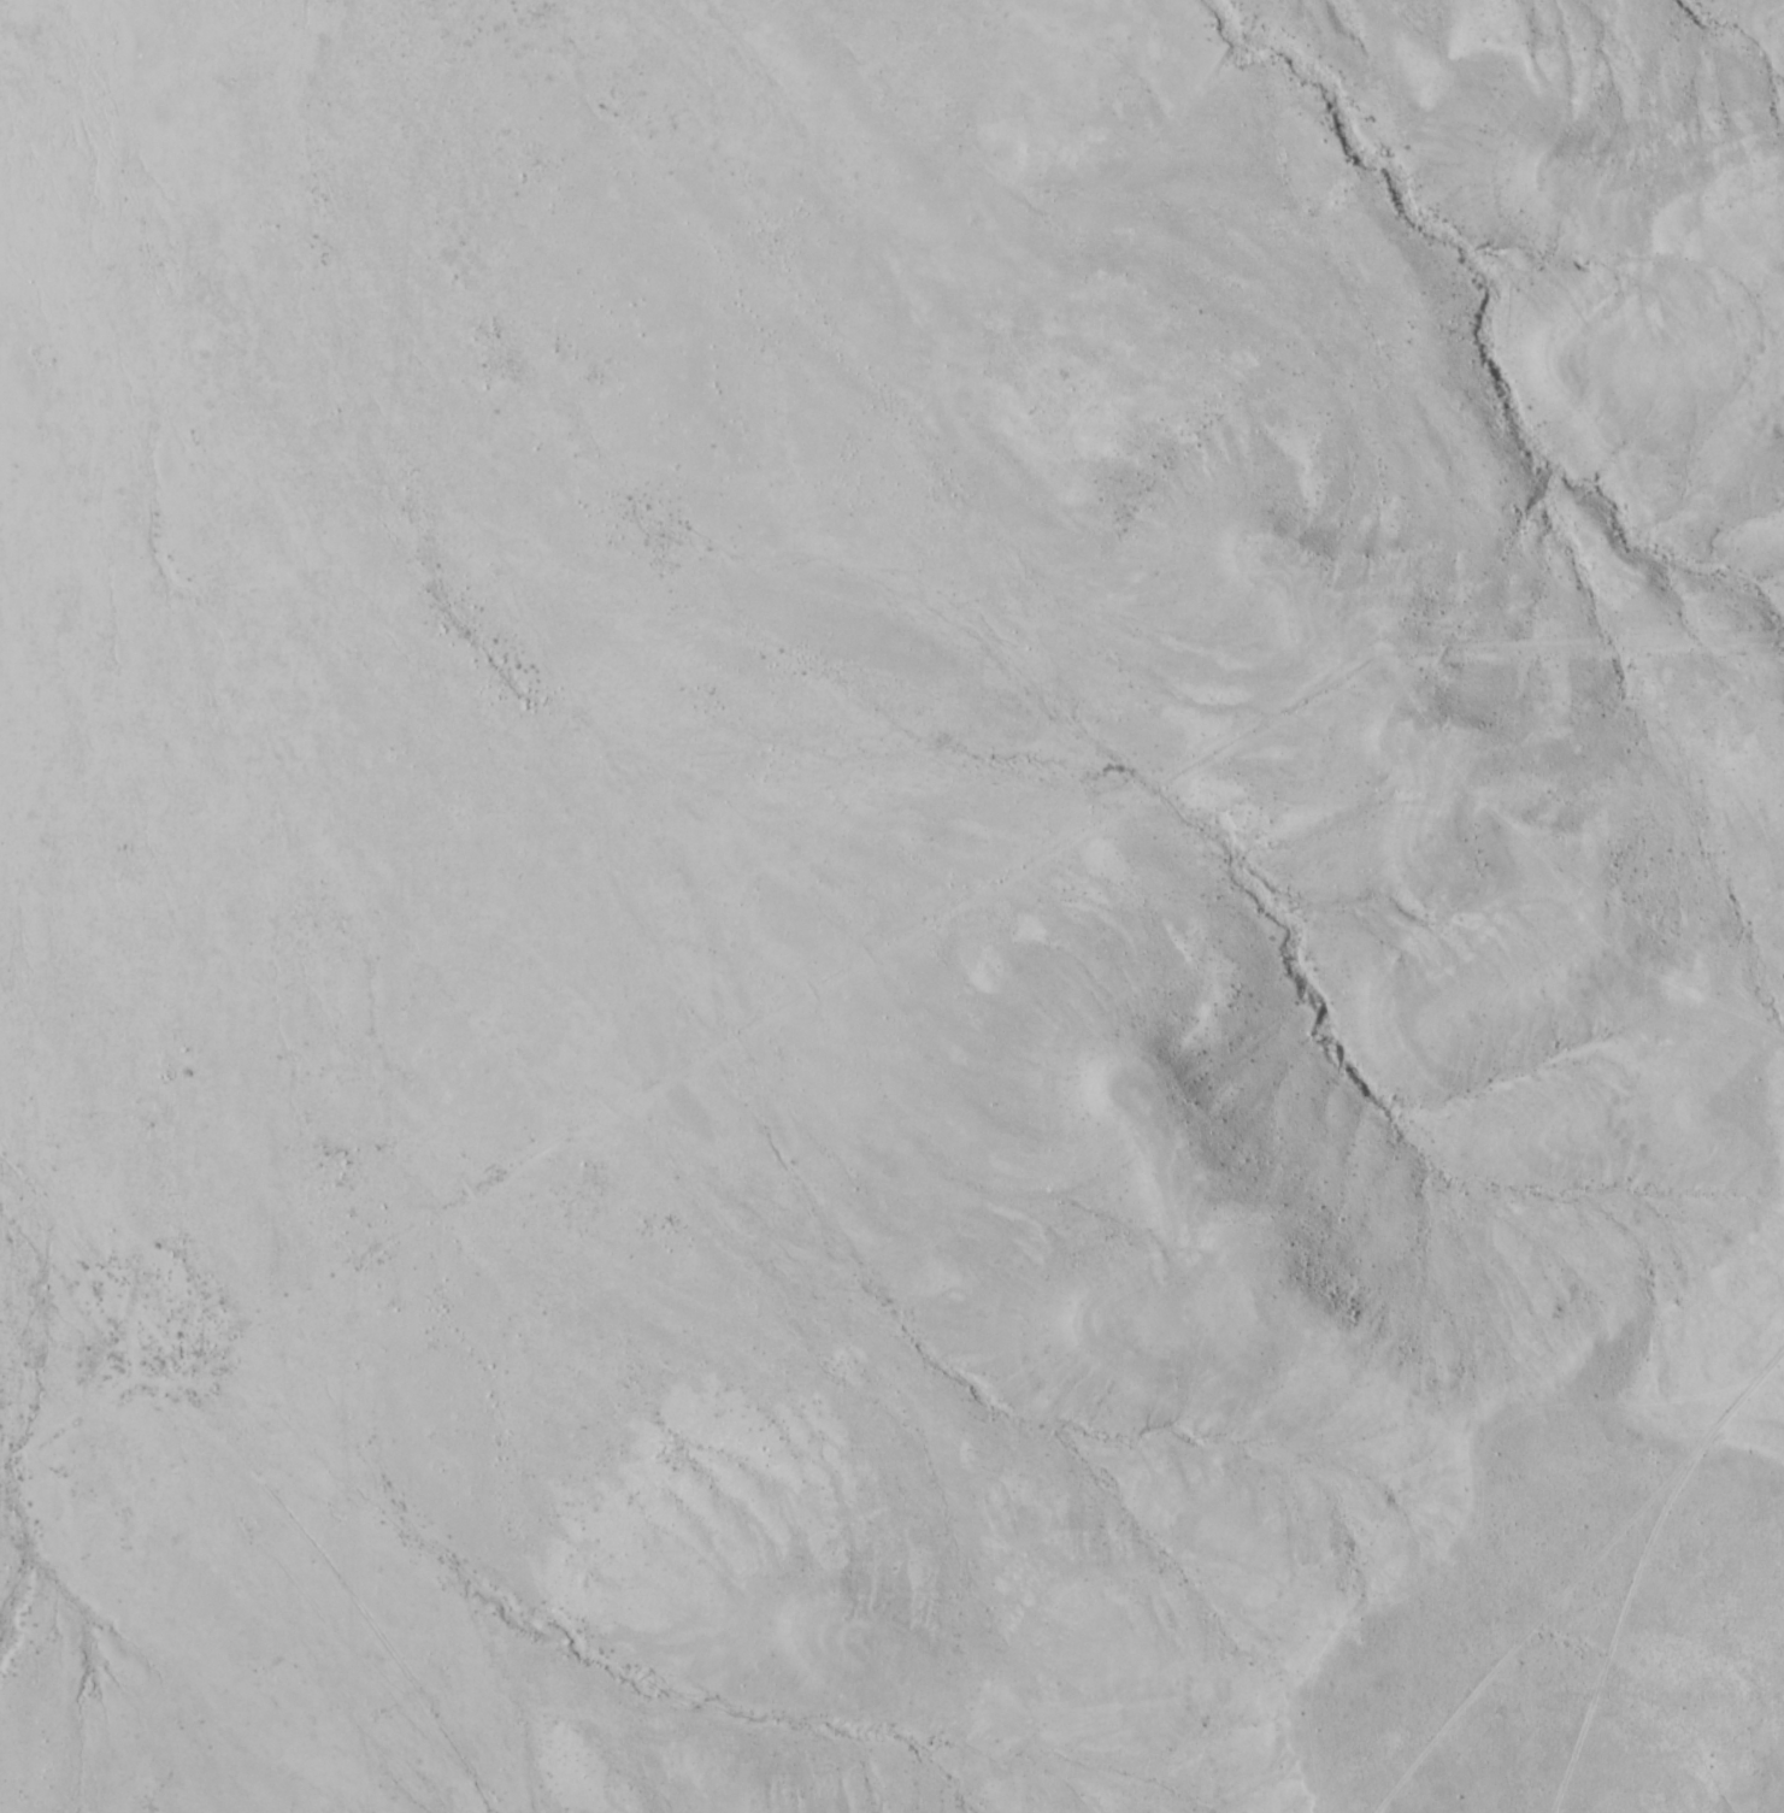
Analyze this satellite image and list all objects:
road: (1611, 1541)

